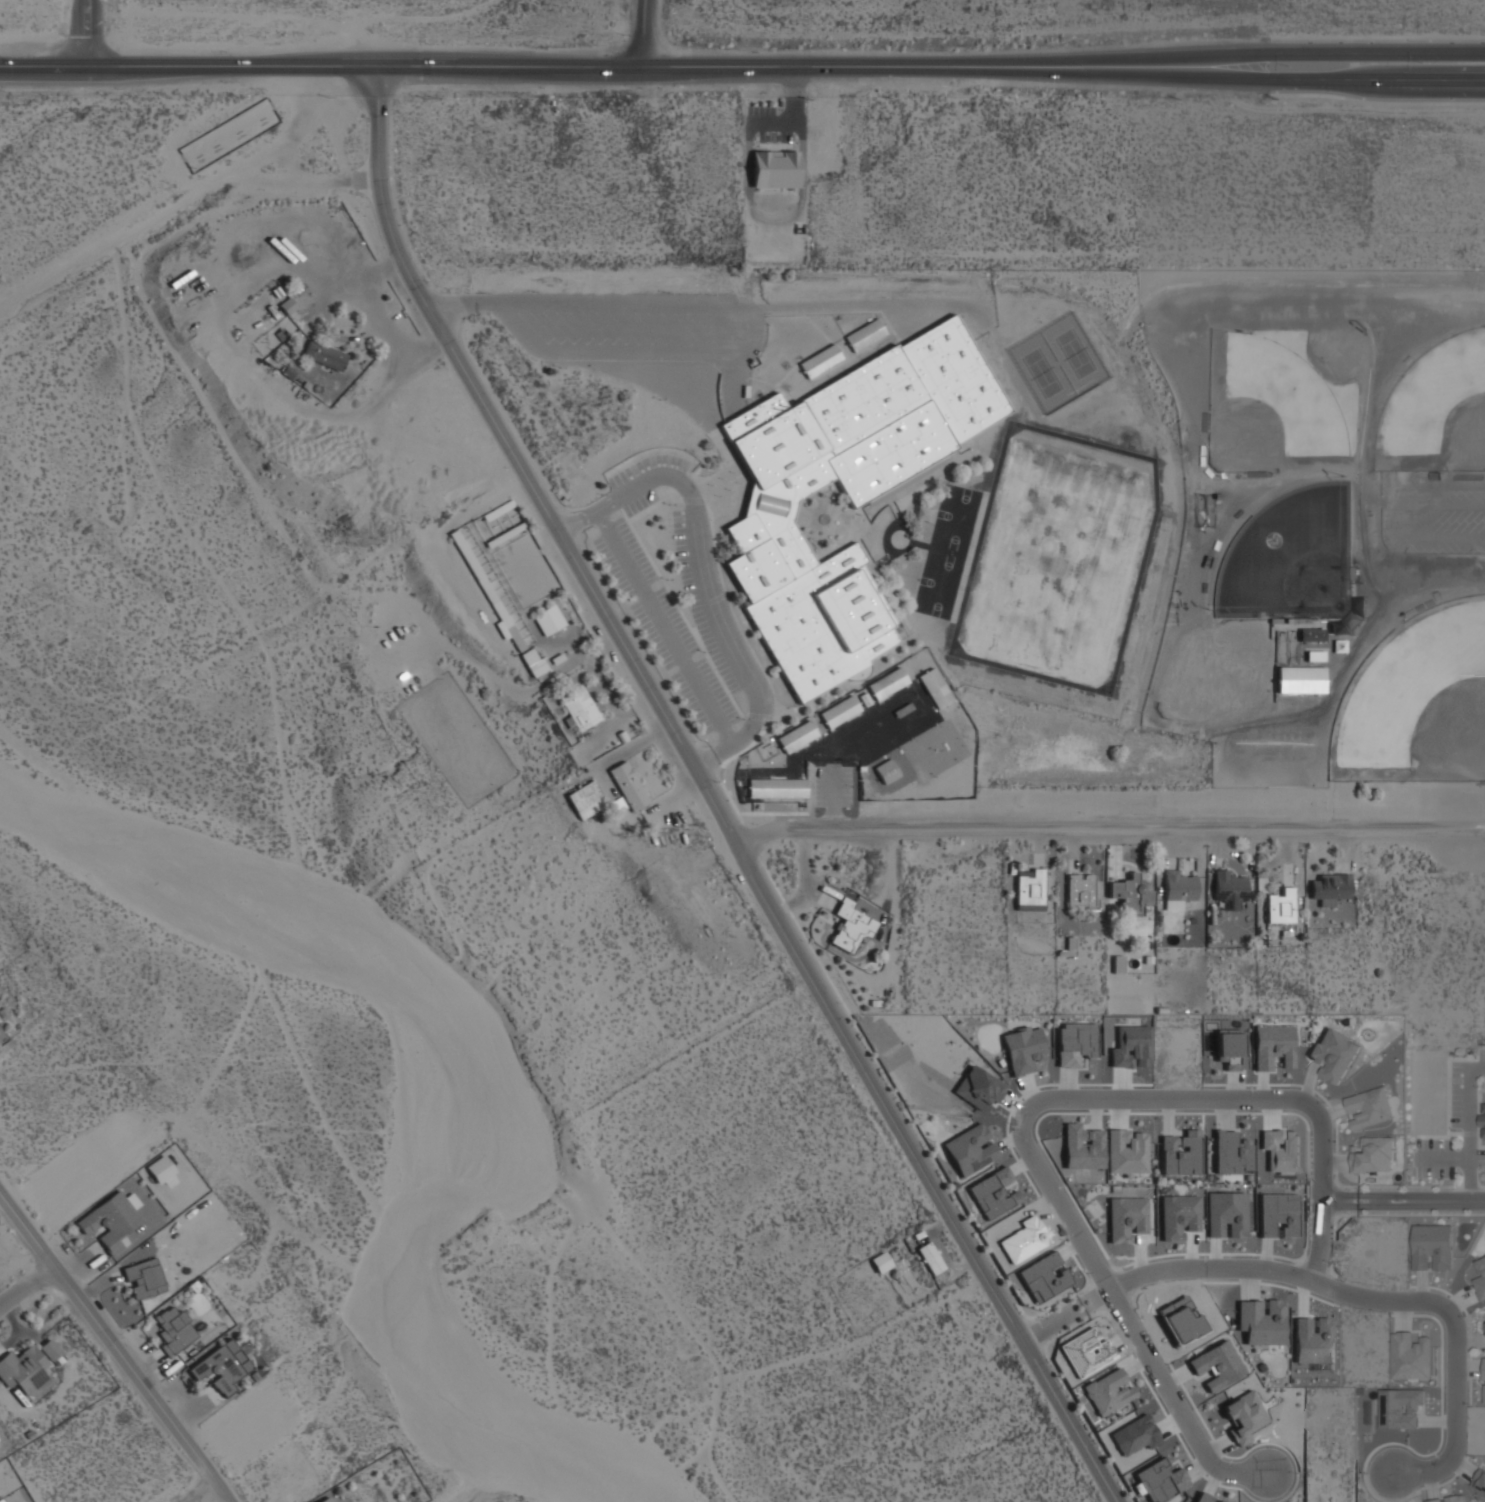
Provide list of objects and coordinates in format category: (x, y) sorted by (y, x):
road: (81, 33)
road: (97, 33)
road: (646, 34)
road: (1326, 52)
road: (584, 67)
road: (1326, 81)
building: (774, 168)
road: (309, 176)
road: (121, 236)
road: (699, 303)
building: (287, 304)
parking lot: (599, 326)
building: (864, 333)
road: (747, 349)
park: (1073, 353)
building: (324, 354)
road: (607, 354)
building: (820, 359)
park: (1041, 373)
park: (1269, 409)
park: (1437, 410)
parking lot: (646, 480)
building: (843, 493)
building: (496, 513)
road: (1391, 522)
parking lot: (1436, 522)
road: (570, 523)
park: (1290, 557)
park: (1058, 558)
road: (702, 574)
building: (493, 591)
parking lot: (698, 600)
building: (548, 619)
road: (662, 625)
parking lot: (664, 628)
building: (1312, 633)
building: (534, 661)
building: (1301, 679)
building: (887, 682)
building: (935, 687)
park: (1417, 701)
building: (579, 707)
building: (840, 710)
building: (796, 735)
park: (947, 742)
park: (922, 756)
road: (704, 758)
building: (887, 770)
building: (628, 785)
parking lot: (833, 786)
building: (776, 788)
road: (709, 794)
building: (585, 798)
road: (833, 802)
road: (1110, 830)
building: (1330, 887)
building: (1030, 888)
building: (1177, 888)
building: (1228, 888)
building: (1081, 890)
building: (1130, 894)
building: (1281, 906)
building: (851, 926)
building: (1076, 1043)
building: (1273, 1046)
building: (1230, 1048)
building: (1023, 1050)
building: (1333, 1054)
river: (421, 1092)
building: (1358, 1103)
road: (1033, 1108)
building: (1482, 1120)
building: (1360, 1122)
building: (1082, 1147)
building: (970, 1149)
building: (1281, 1150)
building: (1126, 1151)
building: (1180, 1153)
building: (1232, 1153)
building: (1373, 1155)
building: (160, 1169)
building: (993, 1193)
road: (1339, 1202)
road: (1420, 1202)
building: (1226, 1214)
building: (1278, 1215)
building: (1179, 1216)
building: (1126, 1218)
building: (109, 1222)
building: (1432, 1247)
building: (929, 1257)
building: (881, 1261)
building: (1042, 1278)
building: (144, 1279)
road: (25, 1286)
road: (1365, 1300)
road: (1054, 1322)
building: (1261, 1322)
building: (174, 1328)
building: (1314, 1341)
building: (49, 1349)
road: (114, 1349)
building: (1410, 1356)
building: (1217, 1365)
building: (221, 1367)
building: (23, 1369)
building: (1484, 1369)
building: (1108, 1392)
building: (1484, 1394)
building: (1401, 1408)
building: (1243, 1417)
building: (1479, 1479)
building: (1161, 1480)
road: (203, 1493)
building: (1203, 1497)
building: (326, 1499)
building: (1450, 1499)
building: (1, 1500)
building: (1219, 1501)

